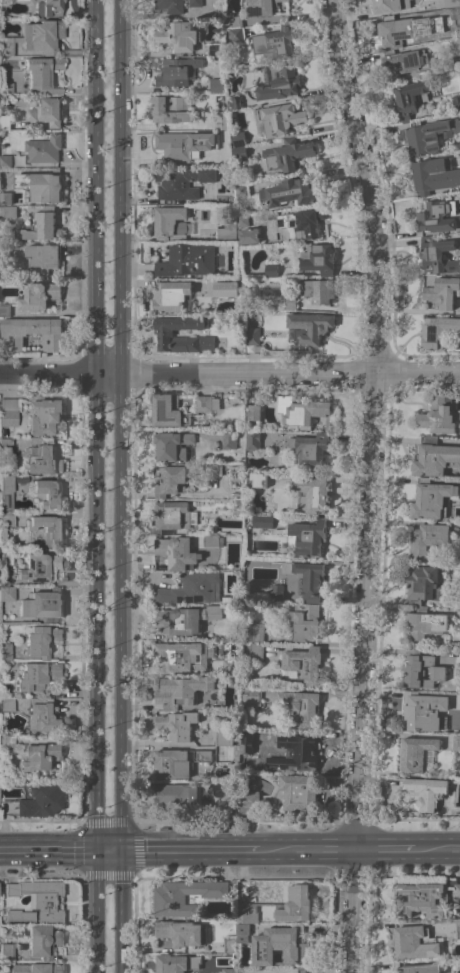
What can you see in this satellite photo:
building: (195, 3)
building: (452, 4)
building: (170, 5)
building: (392, 5)
building: (263, 7)
building: (48, 8)
building: (234, 21)
building: (426, 21)
building: (396, 31)
building: (236, 34)
building: (179, 36)
building: (35, 38)
building: (456, 42)
building: (274, 44)
building: (215, 48)
building: (405, 62)
building: (40, 71)
building: (177, 71)
building: (278, 82)
building: (216, 85)
building: (6, 89)
building: (410, 98)
building: (236, 102)
building: (455, 102)
building: (170, 109)
building: (47, 111)
building: (279, 118)
building: (221, 119)
building: (5, 122)
building: (428, 135)
building: (238, 138)
building: (211, 142)
building: (177, 148)
building: (44, 149)
building: (238, 152)
building: (288, 154)
building: (6, 160)
building: (434, 174)
building: (181, 181)
building: (41, 185)
building: (241, 190)
building: (289, 191)
building: (10, 198)
building: (10, 211)
building: (437, 216)
building: (243, 220)
building: (170, 221)
building: (302, 223)
building: (41, 225)
building: (226, 231)
building: (249, 235)
building: (437, 255)
building: (43, 257)
building: (318, 258)
building: (188, 260)
building: (271, 270)
building: (226, 288)
building: (318, 289)
building: (443, 291)
building: (39, 295)
building: (173, 296)
building: (290, 303)
building: (5, 309)
building: (308, 327)
building: (437, 330)
building: (33, 331)
building: (165, 334)
building: (253, 335)
road: (230, 372)
building: (204, 403)
building: (168, 410)
building: (303, 411)
building: (254, 412)
building: (8, 413)
building: (45, 415)
building: (437, 415)
road: (372, 423)
road: (97, 425)
road: (122, 425)
building: (229, 439)
building: (253, 439)
building: (173, 445)
building: (5, 447)
building: (310, 450)
building: (434, 457)
building: (43, 459)
building: (214, 469)
building: (170, 479)
building: (259, 479)
building: (6, 493)
building: (47, 494)
building: (310, 494)
building: (432, 499)
building: (174, 514)
building: (7, 520)
building: (262, 521)
building: (48, 531)
building: (308, 536)
building: (428, 538)
building: (212, 541)
building: (178, 551)
building: (5, 560)
building: (221, 560)
building: (40, 568)
building: (308, 578)
building: (423, 584)
building: (192, 588)
building: (275, 592)
building: (7, 594)
building: (226, 600)
building: (42, 605)
building: (186, 619)
building: (306, 622)
building: (425, 624)
building: (257, 632)
building: (41, 640)
building: (5, 652)
building: (256, 652)
building: (183, 655)
building: (303, 663)
building: (421, 669)
building: (38, 676)
building: (181, 690)
building: (251, 694)
building: (6, 704)
building: (300, 707)
building: (425, 711)
building: (43, 716)
building: (178, 724)
building: (222, 736)
building: (247, 740)
building: (6, 742)
building: (456, 742)
building: (296, 752)
building: (419, 753)
building: (203, 755)
building: (42, 756)
building: (172, 763)
building: (422, 791)
building: (298, 792)
building: (178, 795)
building: (42, 800)
building: (248, 801)
building: (224, 808)
road: (385, 849)
road: (437, 849)
road: (194, 850)
road: (309, 850)
road: (50, 851)
traffic signals: (100, 851)
road: (112, 851)
traffic signals: (125, 851)
building: (457, 890)
building: (422, 898)
building: (169, 900)
building: (37, 902)
building: (280, 906)
road: (124, 911)
road: (351, 911)
road: (99, 912)
building: (457, 930)
building: (242, 931)
building: (179, 932)
building: (42, 941)
building: (417, 942)
building: (230, 944)
building: (280, 945)
road: (171, 949)
building: (6, 952)
building: (176, 963)
building: (36, 968)
building: (420, 968)
building: (302, 969)
building: (230, 970)
road: (329, 971)
road: (289, 972)
road: (303, 972)

